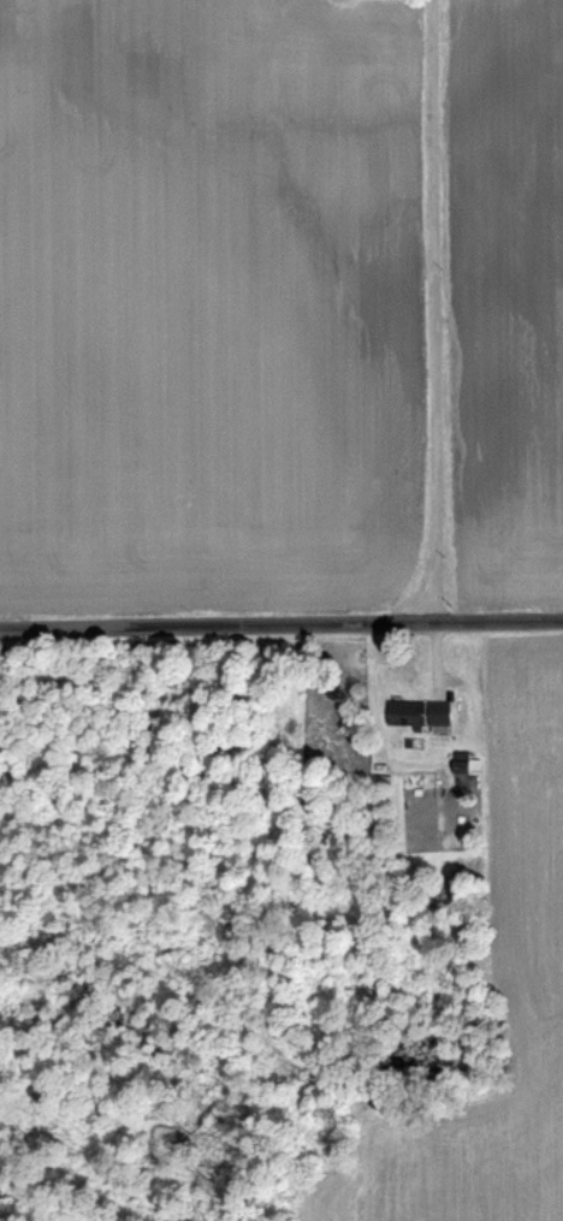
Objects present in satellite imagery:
road: (429, 309)
road: (280, 623)
building: (417, 712)

